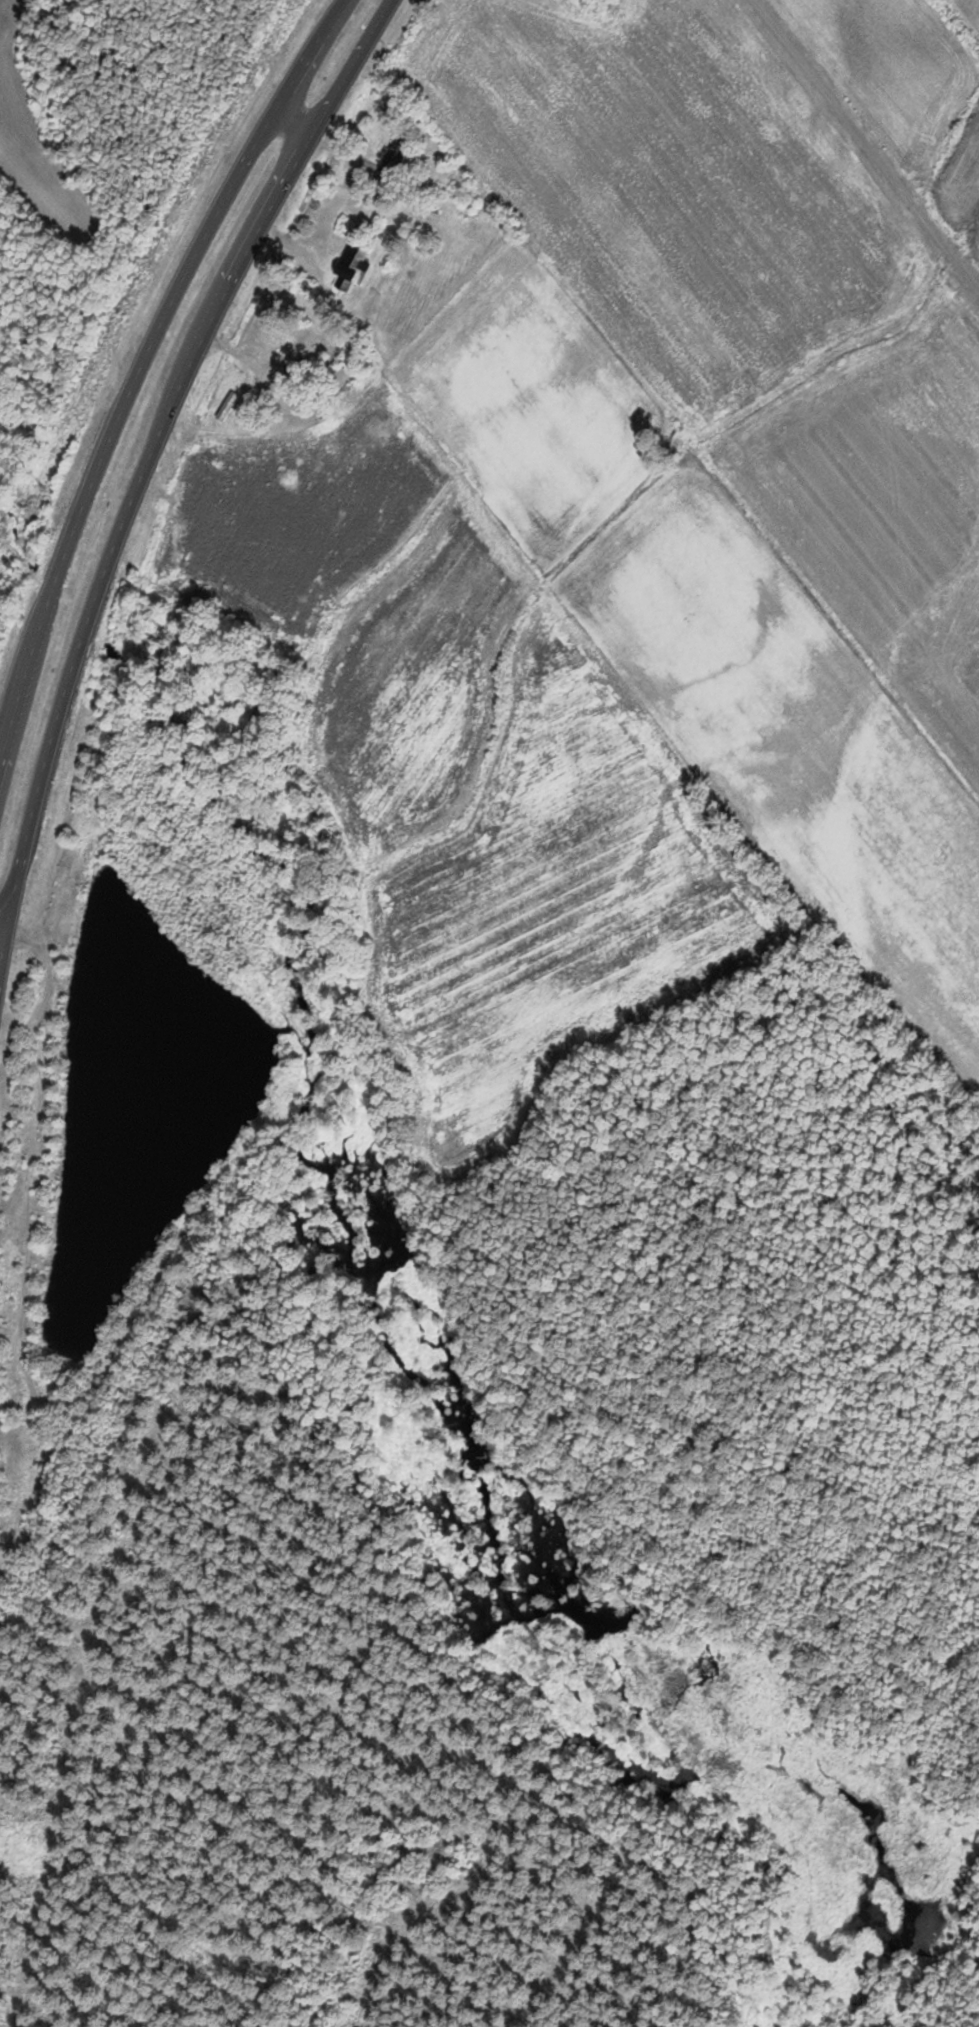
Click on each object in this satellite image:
road: (338, 19)
road: (295, 119)
building: (394, 156)
building: (350, 267)
road: (59, 291)
building: (311, 355)
road: (131, 390)
building: (227, 406)
road: (154, 440)
road: (4, 919)
road: (4, 943)

